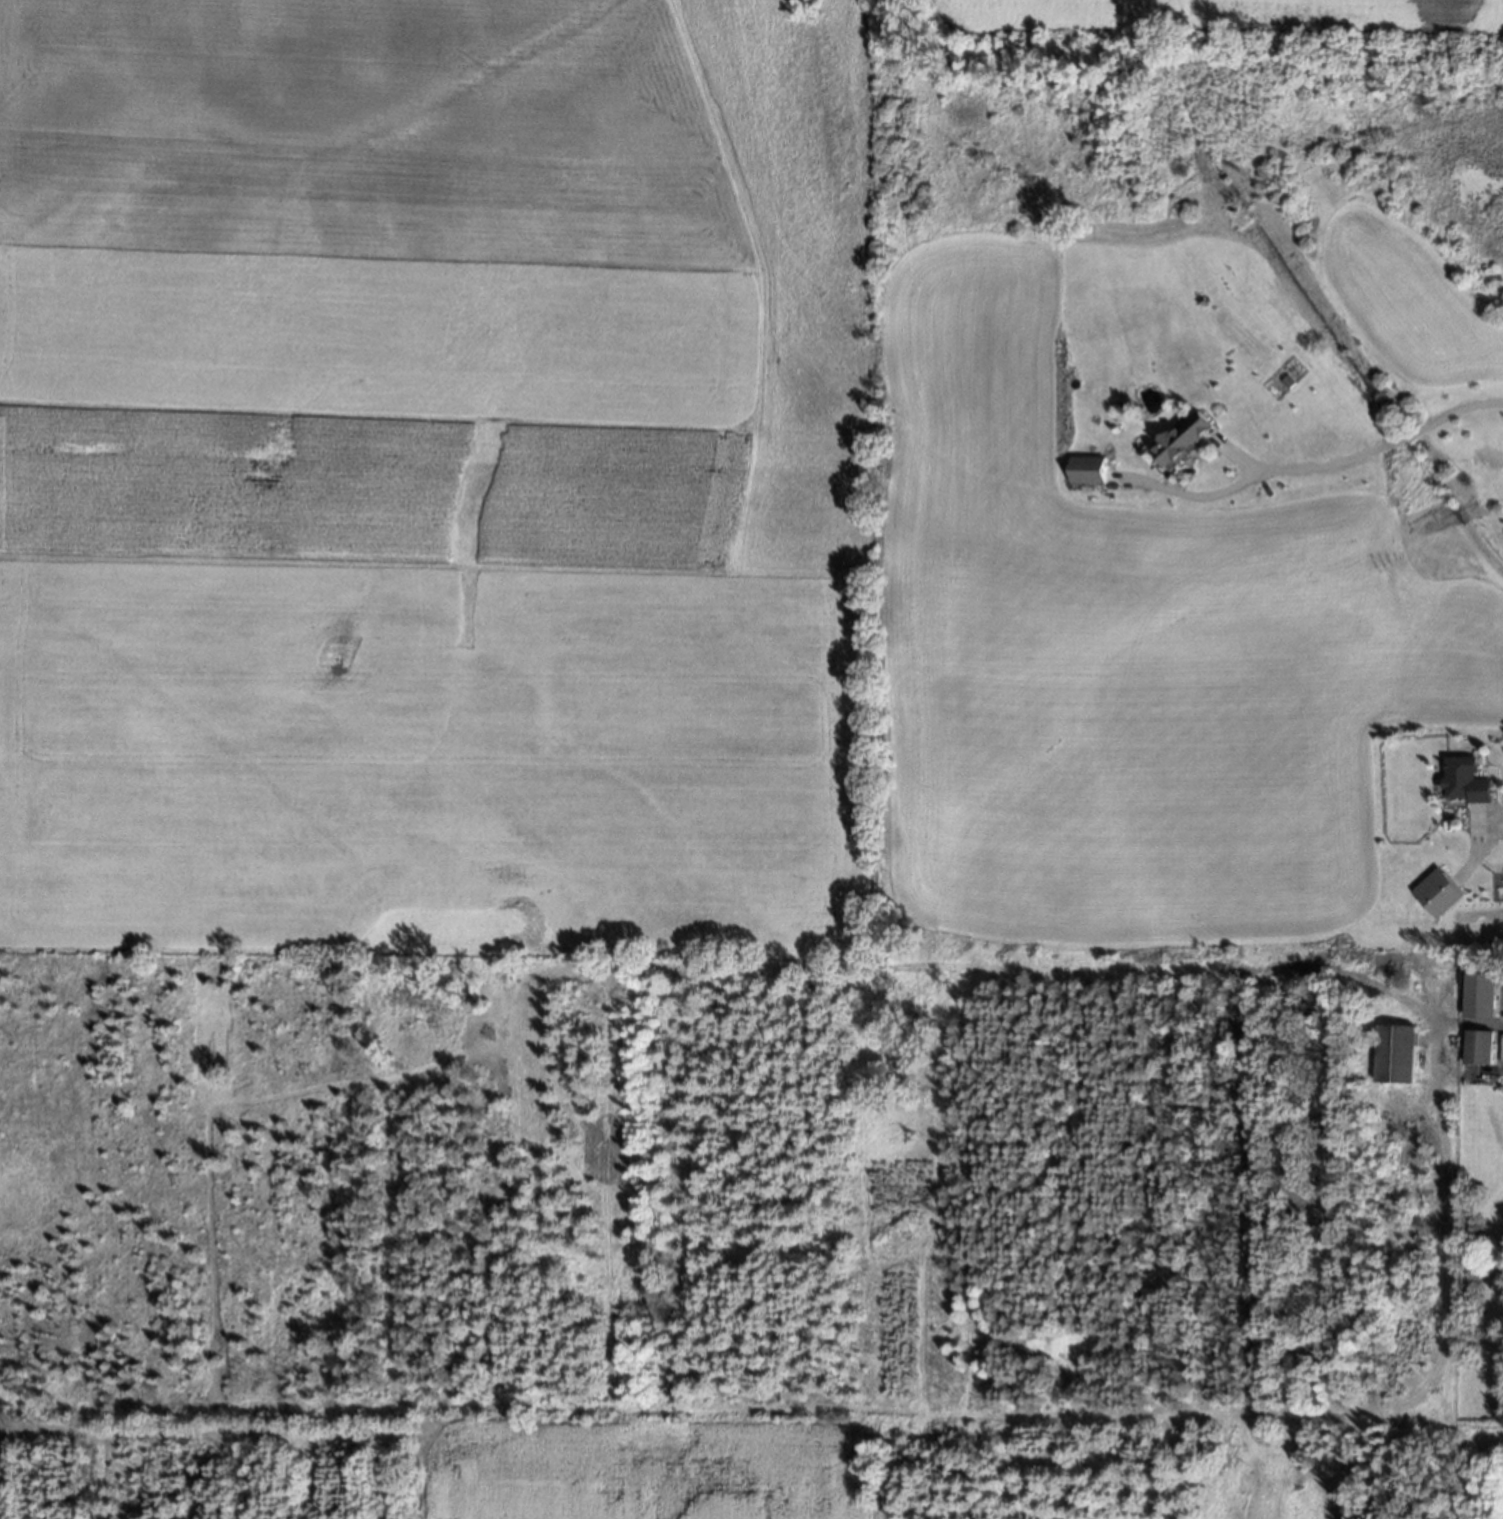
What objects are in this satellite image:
building: (1285, 380)
building: (1183, 441)
road: (1238, 459)
road: (1310, 470)
building: (1087, 472)
building: (1464, 778)
road: (1492, 824)
building: (1435, 890)
building: (1475, 989)
building: (1476, 1045)
building: (1394, 1055)

